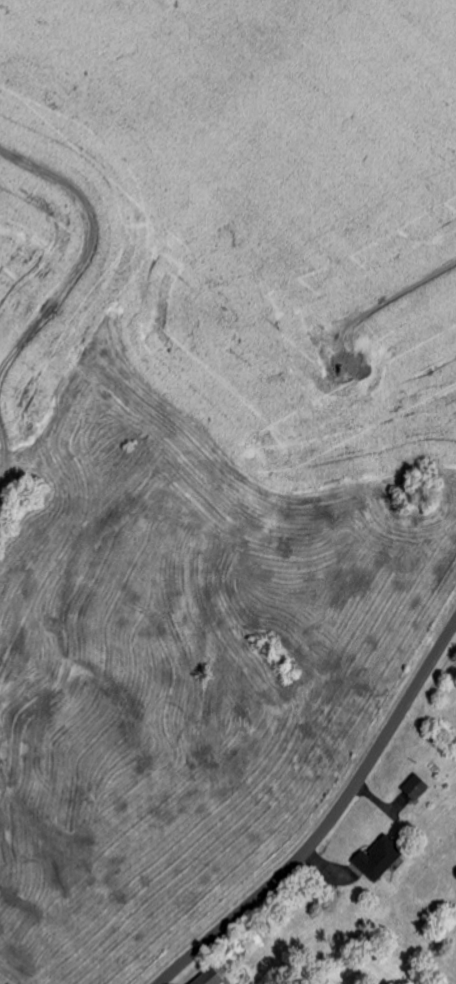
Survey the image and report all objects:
building: (417, 789)
road: (330, 821)
building: (381, 860)
building: (212, 978)

